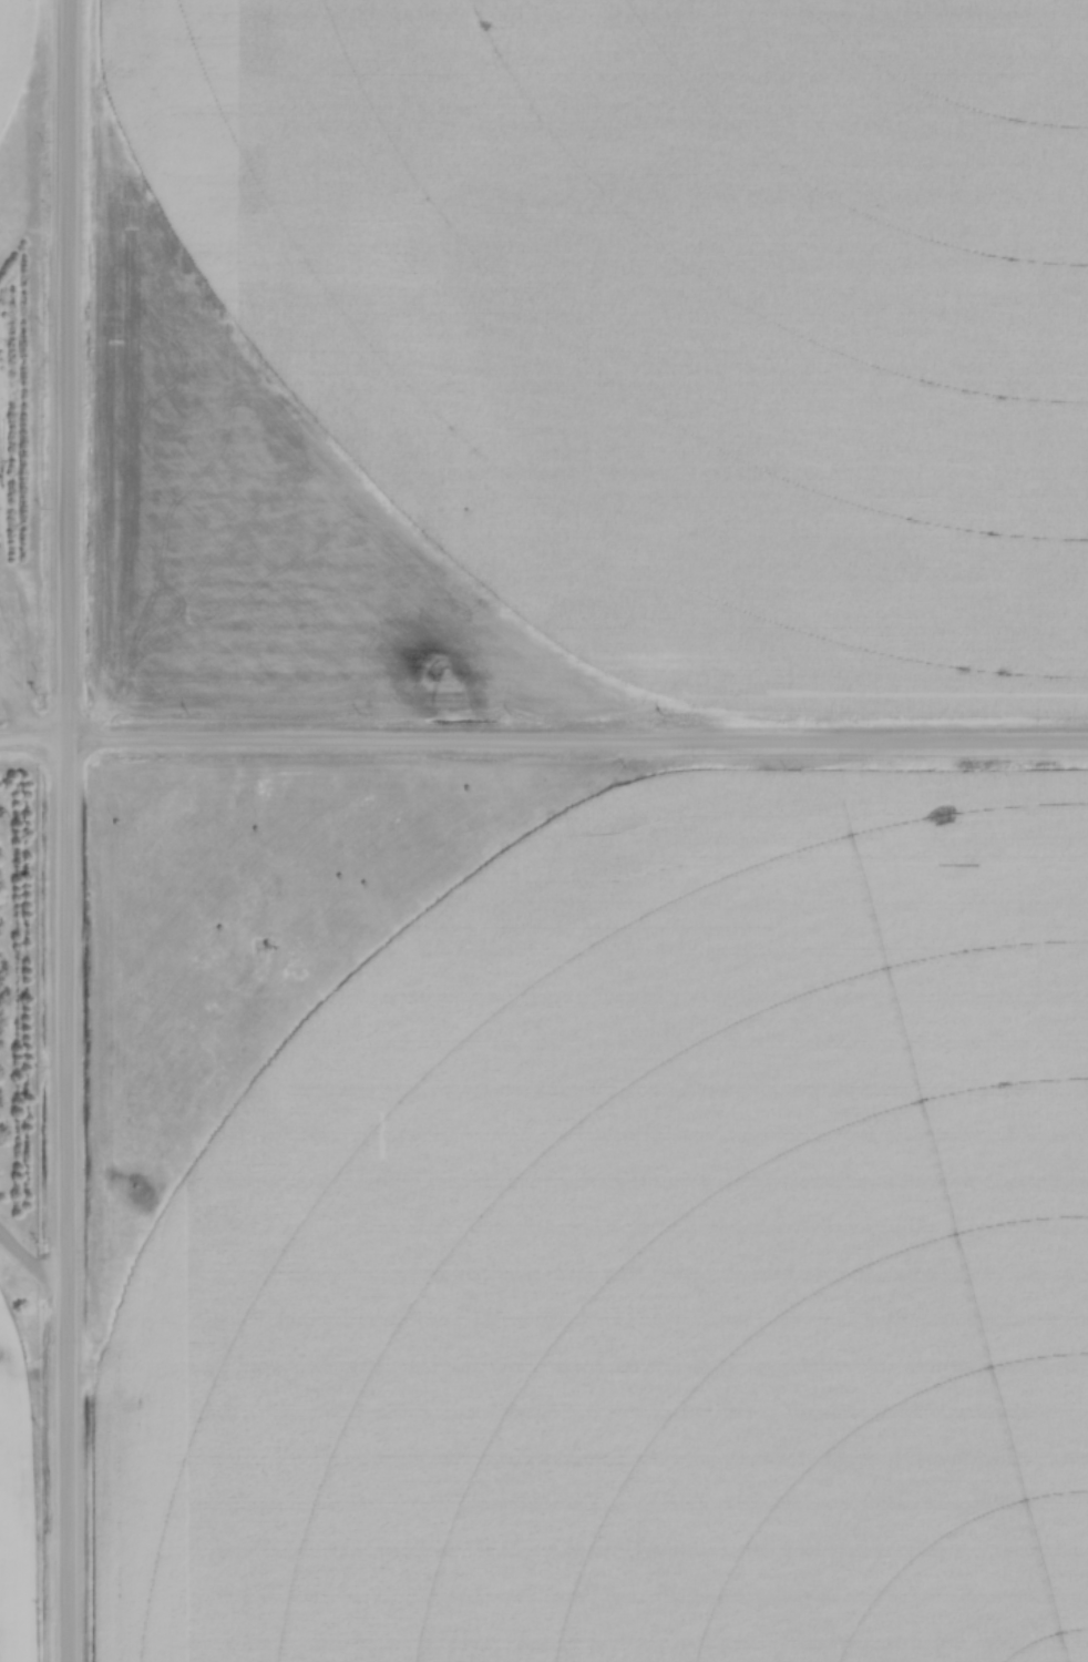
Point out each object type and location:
road: (544, 740)
road: (66, 830)

